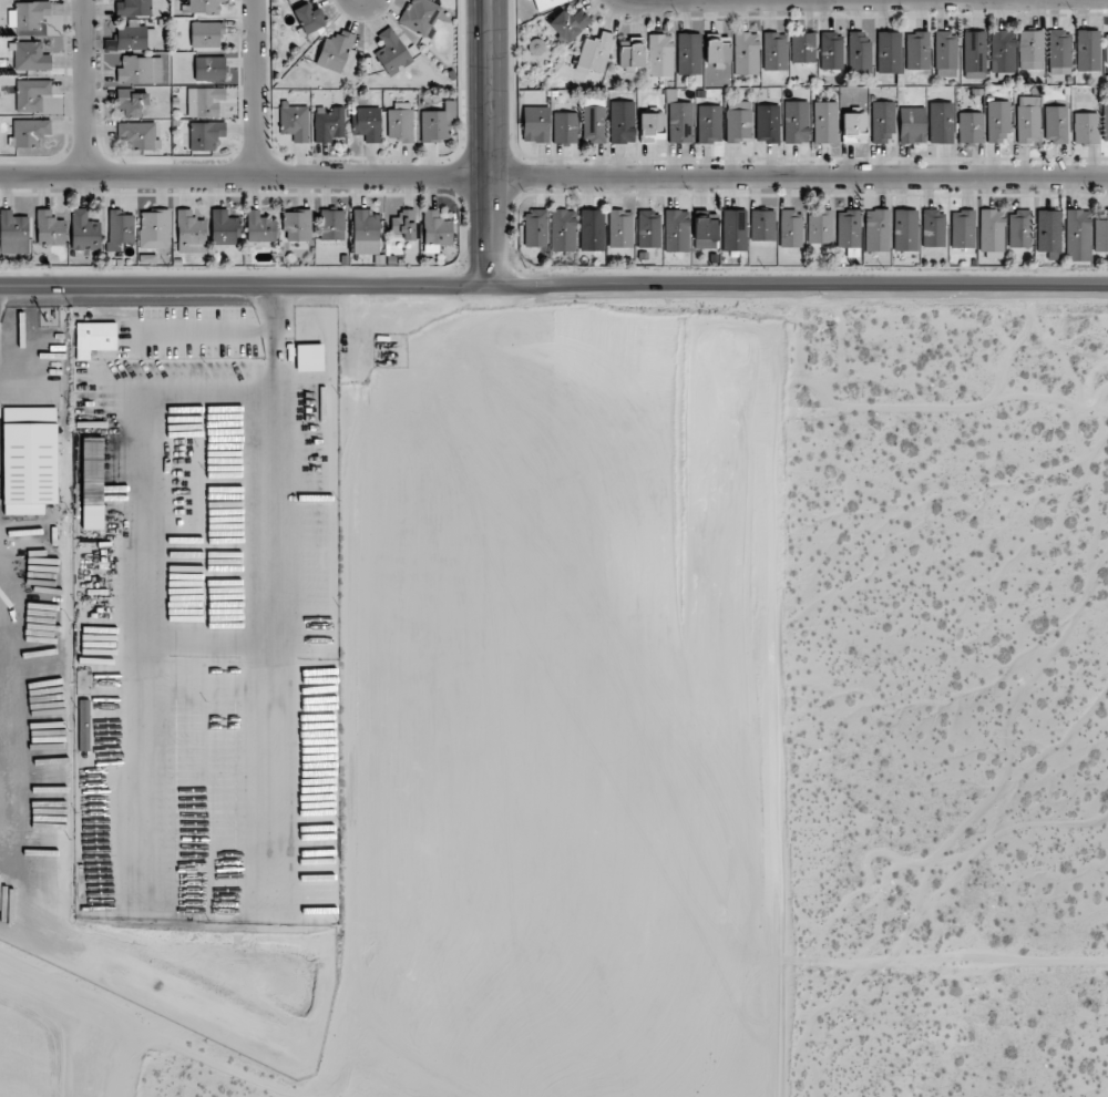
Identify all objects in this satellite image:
building: (547, 3)
building: (133, 8)
building: (31, 14)
building: (420, 16)
building: (308, 19)
building: (568, 24)
building: (206, 33)
building: (135, 37)
building: (1106, 45)
building: (802, 47)
building: (717, 49)
building: (917, 50)
building: (1003, 50)
building: (1032, 50)
building: (1088, 50)
building: (335, 51)
building: (774, 51)
building: (831, 51)
building: (392, 52)
building: (859, 52)
building: (889, 52)
building: (1059, 52)
building: (688, 53)
building: (746, 53)
building: (945, 53)
building: (594, 54)
building: (660, 54)
building: (975, 54)
building: (630, 55)
building: (30, 57)
building: (209, 68)
building: (140, 70)
road: (86, 88)
road: (258, 88)
building: (31, 94)
building: (204, 101)
building: (132, 102)
building: (450, 107)
building: (1028, 120)
building: (738, 121)
building: (998, 121)
building: (294, 122)
building: (622, 122)
building: (680, 122)
building: (796, 122)
building: (824, 122)
building: (882, 122)
building: (941, 122)
building: (367, 123)
building: (400, 123)
building: (767, 123)
building: (1105, 123)
building: (328, 124)
building: (535, 124)
building: (593, 124)
building: (709, 124)
building: (1055, 124)
building: (854, 125)
building: (912, 125)
building: (433, 126)
building: (652, 126)
building: (564, 127)
building: (970, 127)
building: (1086, 127)
building: (29, 132)
building: (138, 134)
building: (205, 134)
road: (481, 144)
road: (553, 177)
building: (403, 224)
building: (297, 225)
building: (331, 225)
building: (762, 225)
building: (820, 226)
building: (120, 227)
building: (224, 227)
building: (260, 227)
building: (50, 228)
building: (189, 228)
building: (535, 228)
building: (619, 228)
building: (790, 228)
building: (849, 228)
building: (933, 228)
building: (962, 228)
building: (154, 229)
building: (592, 229)
building: (648, 229)
building: (1019, 229)
building: (84, 230)
building: (435, 230)
building: (562, 230)
building: (676, 230)
building: (735, 230)
building: (876, 230)
building: (905, 230)
building: (1048, 230)
building: (1100, 230)
building: (366, 232)
building: (13, 233)
building: (706, 233)
building: (992, 234)
building: (1077, 235)
road: (553, 288)
building: (94, 339)
building: (309, 357)
building: (29, 459)
building: (92, 483)
road: (355, 484)
road: (196, 647)

